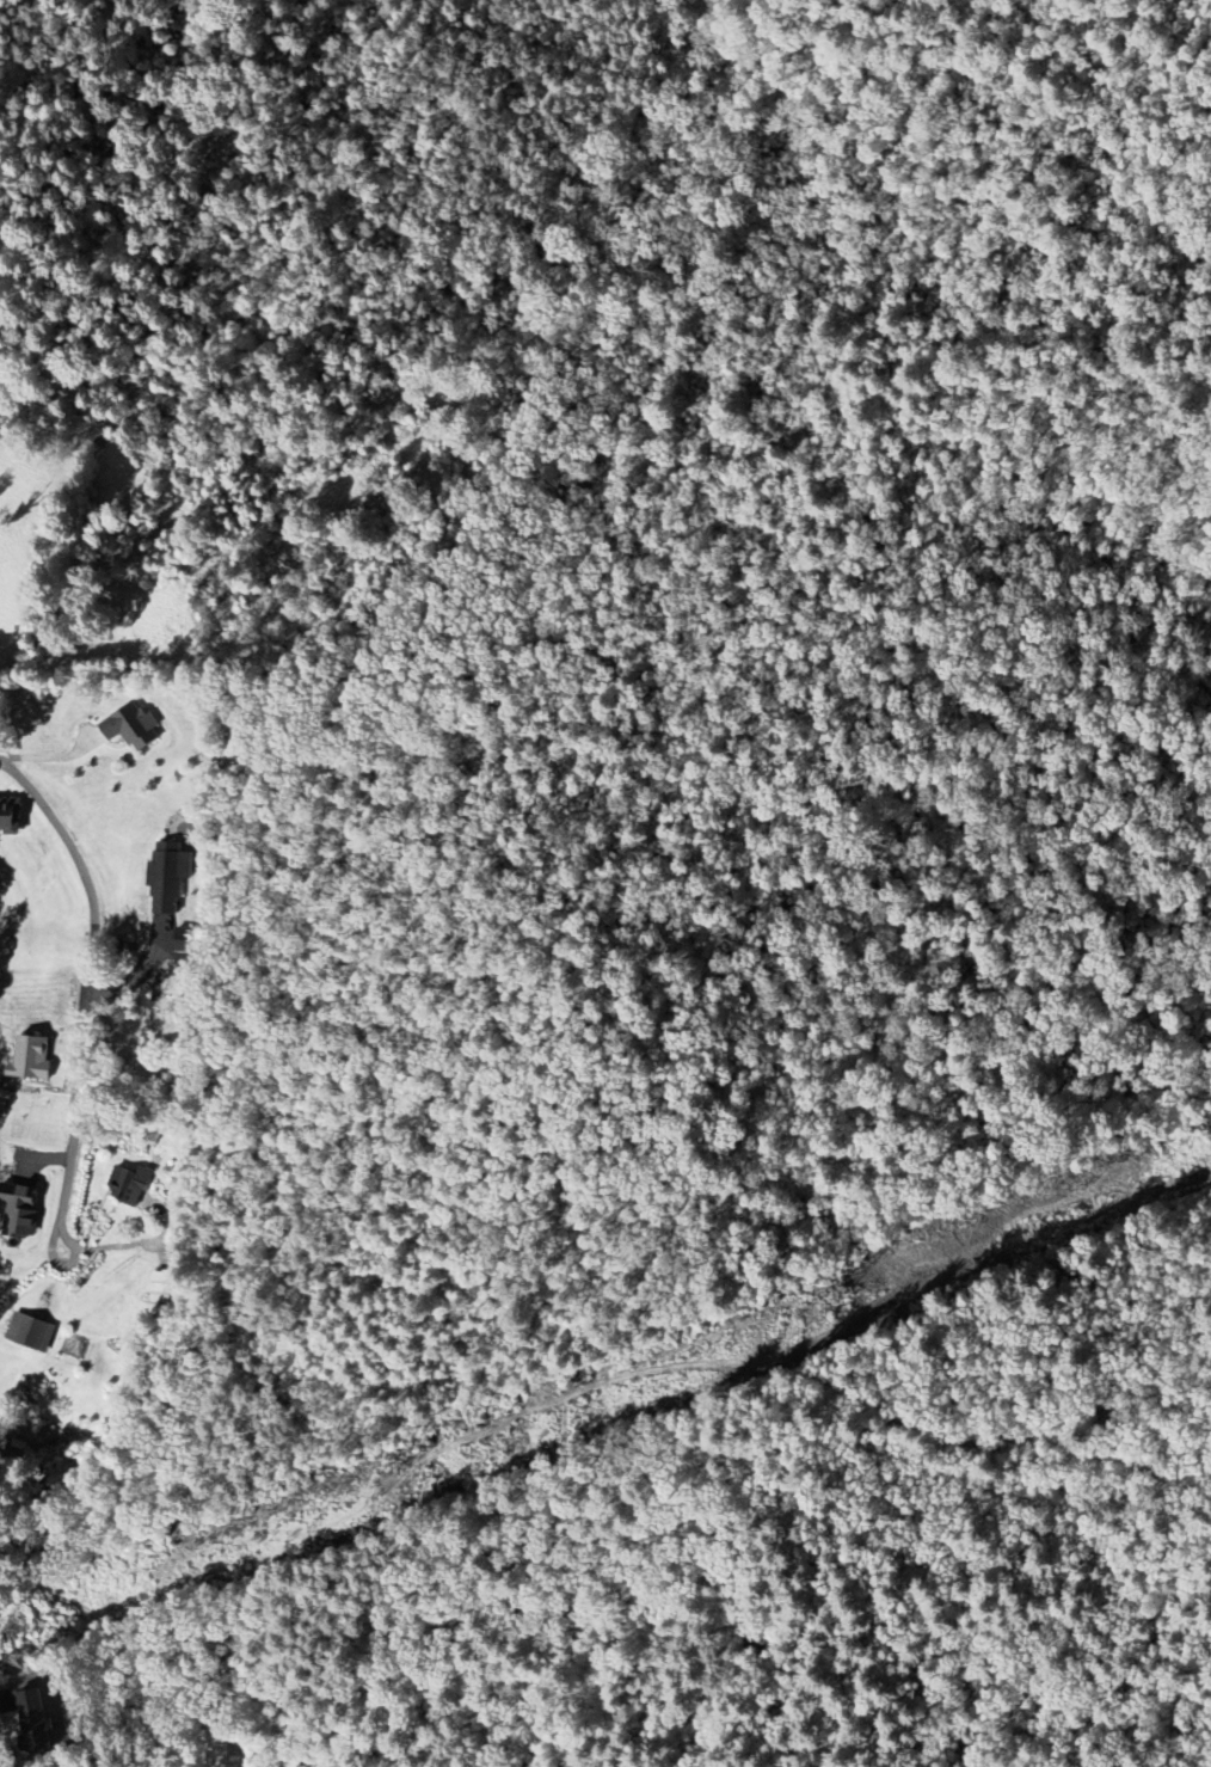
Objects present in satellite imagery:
road: (88, 72)
building: (133, 728)
building: (10, 820)
building: (171, 908)
road: (96, 978)
building: (32, 1060)
building: (130, 1186)
building: (17, 1214)
building: (162, 1289)
power tower: (810, 1315)
building: (31, 1333)
building: (35, 1724)

